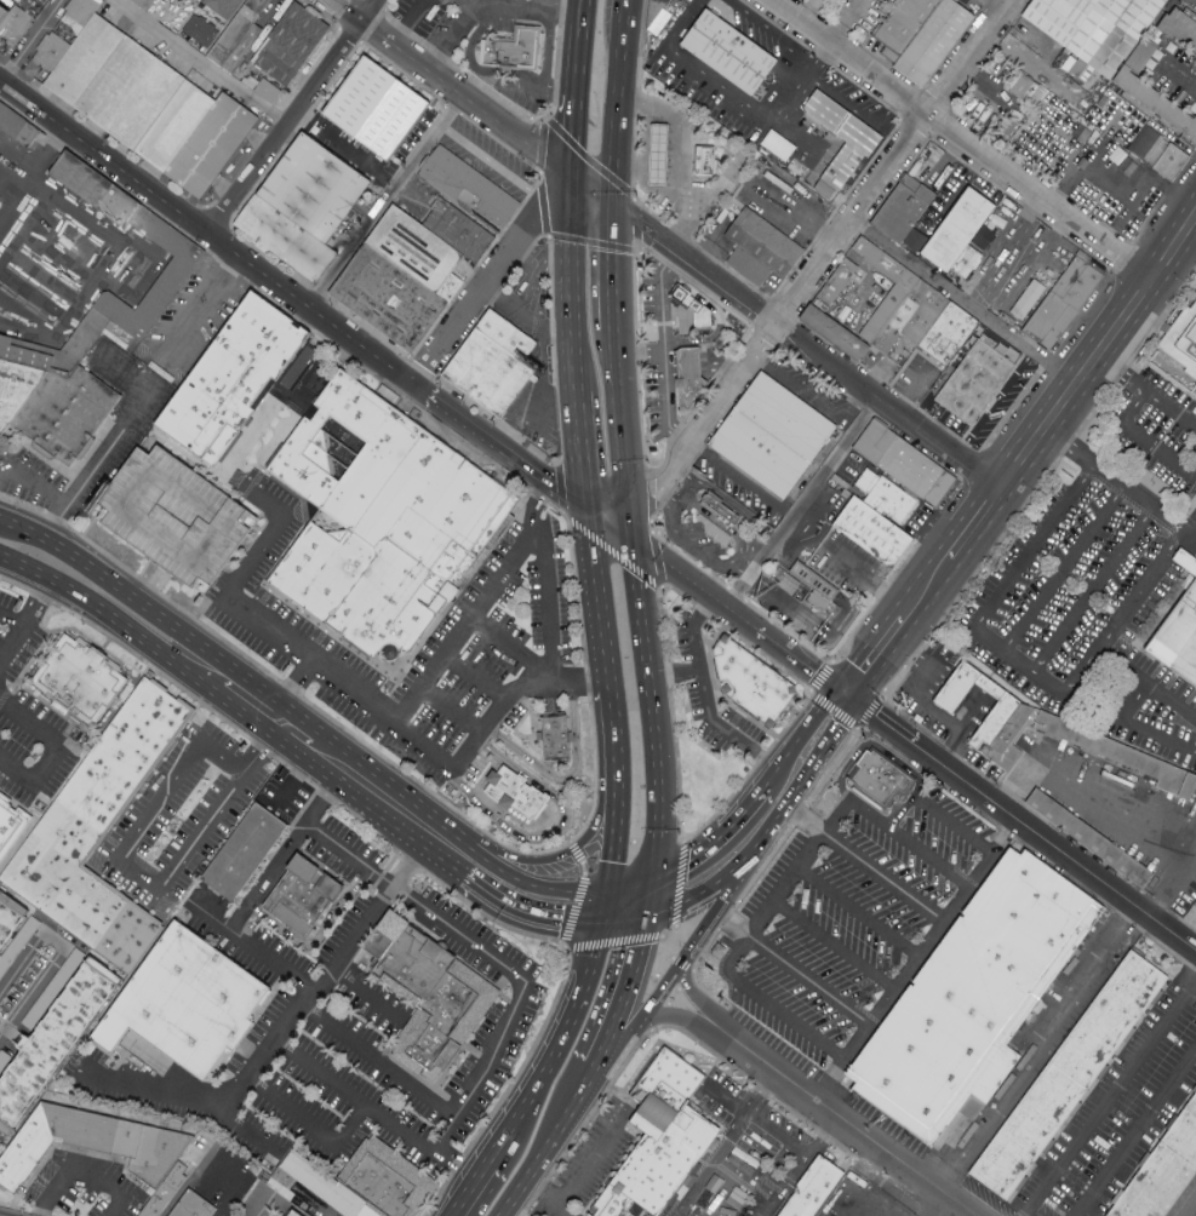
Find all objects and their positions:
building: (55, 0)
building: (806, 1)
building: (41, 4)
building: (145, 5)
road: (544, 5)
building: (222, 7)
road: (521, 8)
road: (626, 10)
road: (345, 11)
road: (368, 11)
road: (980, 11)
building: (85, 12)
road: (582, 15)
building: (4, 16)
building: (875, 22)
road: (410, 23)
road: (846, 23)
building: (909, 27)
building: (1180, 28)
building: (1093, 29)
building: (19, 30)
building: (200, 31)
building: (241, 39)
road: (450, 39)
road: (34, 42)
road: (802, 44)
building: (940, 44)
building: (293, 46)
road: (642, 48)
building: (515, 52)
building: (55, 53)
building: (728, 55)
building: (86, 62)
road: (198, 62)
road: (547, 64)
road: (1181, 67)
road: (492, 80)
building: (1030, 88)
building: (267, 92)
building: (132, 96)
road: (467, 98)
road: (576, 103)
road: (855, 107)
building: (1157, 107)
building: (373, 108)
road: (784, 108)
road: (752, 111)
road: (617, 113)
building: (16, 127)
road: (282, 127)
building: (178, 128)
road: (543, 138)
building: (847, 140)
road: (956, 142)
building: (214, 148)
road: (347, 148)
road: (680, 150)
building: (1162, 155)
building: (657, 156)
building: (704, 162)
road: (895, 162)
road: (492, 164)
road: (642, 168)
road: (30, 173)
traffic signals: (573, 176)
building: (468, 185)
building: (313, 189)
road: (1122, 190)
road: (594, 191)
road: (955, 196)
road: (385, 201)
traffic signals: (614, 208)
building: (908, 212)
road: (1131, 212)
road: (205, 233)
building: (464, 233)
building: (965, 233)
building: (285, 240)
building: (917, 240)
road: (1008, 245)
building: (760, 249)
road: (697, 265)
building: (972, 266)
road: (612, 269)
building: (174, 275)
road: (677, 275)
road: (490, 276)
building: (402, 282)
building: (841, 283)
building: (1029, 299)
road: (962, 305)
building: (1069, 305)
road: (202, 306)
road: (487, 308)
building: (698, 311)
building: (887, 314)
building: (952, 337)
building: (510, 338)
road: (568, 340)
building: (1183, 344)
road: (663, 350)
road: (1099, 351)
road: (1118, 375)
building: (492, 377)
building: (688, 377)
building: (236, 383)
building: (980, 385)
road: (911, 388)
road: (813, 396)
building: (50, 405)
road: (888, 406)
road: (527, 407)
road: (998, 408)
road: (1168, 413)
road: (122, 417)
road: (708, 423)
building: (792, 423)
road: (620, 426)
road: (1143, 441)
road: (496, 444)
building: (762, 458)
building: (909, 468)
road: (1, 471)
road: (743, 482)
road: (1112, 482)
road: (52, 494)
road: (649, 498)
building: (891, 499)
road: (537, 500)
road: (803, 505)
road: (820, 505)
traffic signals: (584, 506)
road: (739, 514)
building: (178, 515)
parking lot: (178, 515)
road: (4, 518)
road: (713, 520)
road: (975, 520)
road: (585, 521)
building: (382, 522)
road: (608, 523)
road: (1190, 527)
building: (879, 535)
traffic signals: (633, 541)
road: (687, 545)
road: (612, 552)
building: (1188, 560)
road: (513, 561)
road: (738, 569)
road: (1061, 573)
road: (866, 578)
road: (107, 579)
road: (150, 583)
road: (925, 587)
building: (807, 592)
road: (1091, 593)
road: (594, 598)
road: (639, 600)
road: (38, 604)
road: (95, 608)
road: (762, 614)
road: (739, 618)
road: (713, 619)
road: (11, 624)
road: (691, 631)
road: (11, 643)
building: (1178, 643)
parking lot: (496, 650)
road: (874, 658)
road: (1014, 664)
road: (206, 666)
road: (603, 673)
road: (673, 675)
road: (474, 679)
road: (568, 683)
building: (751, 683)
road: (1148, 683)
building: (84, 686)
road: (290, 690)
road: (606, 693)
traffic signals: (847, 694)
parking lot: (709, 695)
road: (247, 696)
road: (916, 701)
road: (362, 709)
road: (835, 711)
road: (451, 712)
road: (277, 718)
road: (1131, 721)
parking lot: (27, 722)
road: (836, 724)
building: (1007, 724)
road: (719, 733)
road: (299, 735)
building: (555, 739)
road: (796, 739)
road: (876, 747)
road: (55, 748)
road: (263, 750)
road: (611, 753)
road: (331, 758)
building: (1121, 759)
road: (294, 776)
road: (567, 780)
road: (656, 780)
building: (880, 784)
road: (796, 787)
building: (517, 791)
road: (390, 801)
road: (902, 814)
road: (1112, 816)
road: (805, 821)
road: (1020, 824)
building: (10, 825)
road: (955, 826)
road: (560, 827)
road: (583, 831)
building: (97, 833)
road: (893, 834)
building: (1088, 842)
road: (459, 844)
road: (708, 845)
road: (754, 845)
road: (582, 849)
road: (288, 850)
road: (610, 850)
building: (244, 854)
road: (451, 855)
road: (772, 855)
road: (559, 857)
traffic signals: (610, 859)
road: (118, 860)
traffic signals: (681, 867)
road: (584, 870)
road: (886, 879)
road: (540, 885)
road: (679, 885)
road: (788, 885)
road: (628, 887)
road: (706, 888)
road: (727, 889)
building: (302, 896)
road: (647, 899)
road: (603, 907)
road: (660, 911)
road: (530, 912)
road: (859, 913)
building: (8, 914)
road: (623, 919)
parking lot: (846, 919)
traffic signals: (571, 922)
road: (733, 923)
road: (319, 936)
road: (699, 937)
road: (665, 939)
traffic signals: (641, 940)
road: (670, 942)
road: (248, 946)
road: (577, 946)
road: (835, 946)
road: (61, 951)
building: (75, 958)
road: (493, 959)
road: (916, 960)
road: (682, 965)
road: (327, 973)
road: (808, 980)
road: (365, 993)
road: (624, 993)
road: (688, 993)
building: (428, 998)
road: (671, 999)
building: (972, 1003)
building: (184, 1004)
road: (765, 1004)
road: (673, 1019)
road: (641, 1020)
building: (52, 1038)
road: (641, 1039)
road: (556, 1044)
road: (1036, 1050)
road: (379, 1062)
road: (588, 1080)
building: (1066, 1082)
road: (510, 1086)
road: (188, 1095)
road: (1110, 1099)
road: (725, 1100)
road: (374, 1111)
road: (837, 1117)
parking lot: (1118, 1118)
road: (313, 1125)
road: (561, 1125)
road: (740, 1129)
road: (1139, 1132)
building: (660, 1137)
building: (91, 1143)
road: (593, 1159)
road: (802, 1166)
road: (78, 1171)
road: (706, 1171)
building: (1164, 1174)
building: (387, 1181)
road: (469, 1186)
road: (521, 1186)
building: (325, 1187)
building: (811, 1189)
building: (164, 1192)
road: (547, 1199)
parking lot: (1188, 1204)
road: (263, 1206)
building: (195, 1208)
road: (1189, 1208)
building: (292, 1215)

